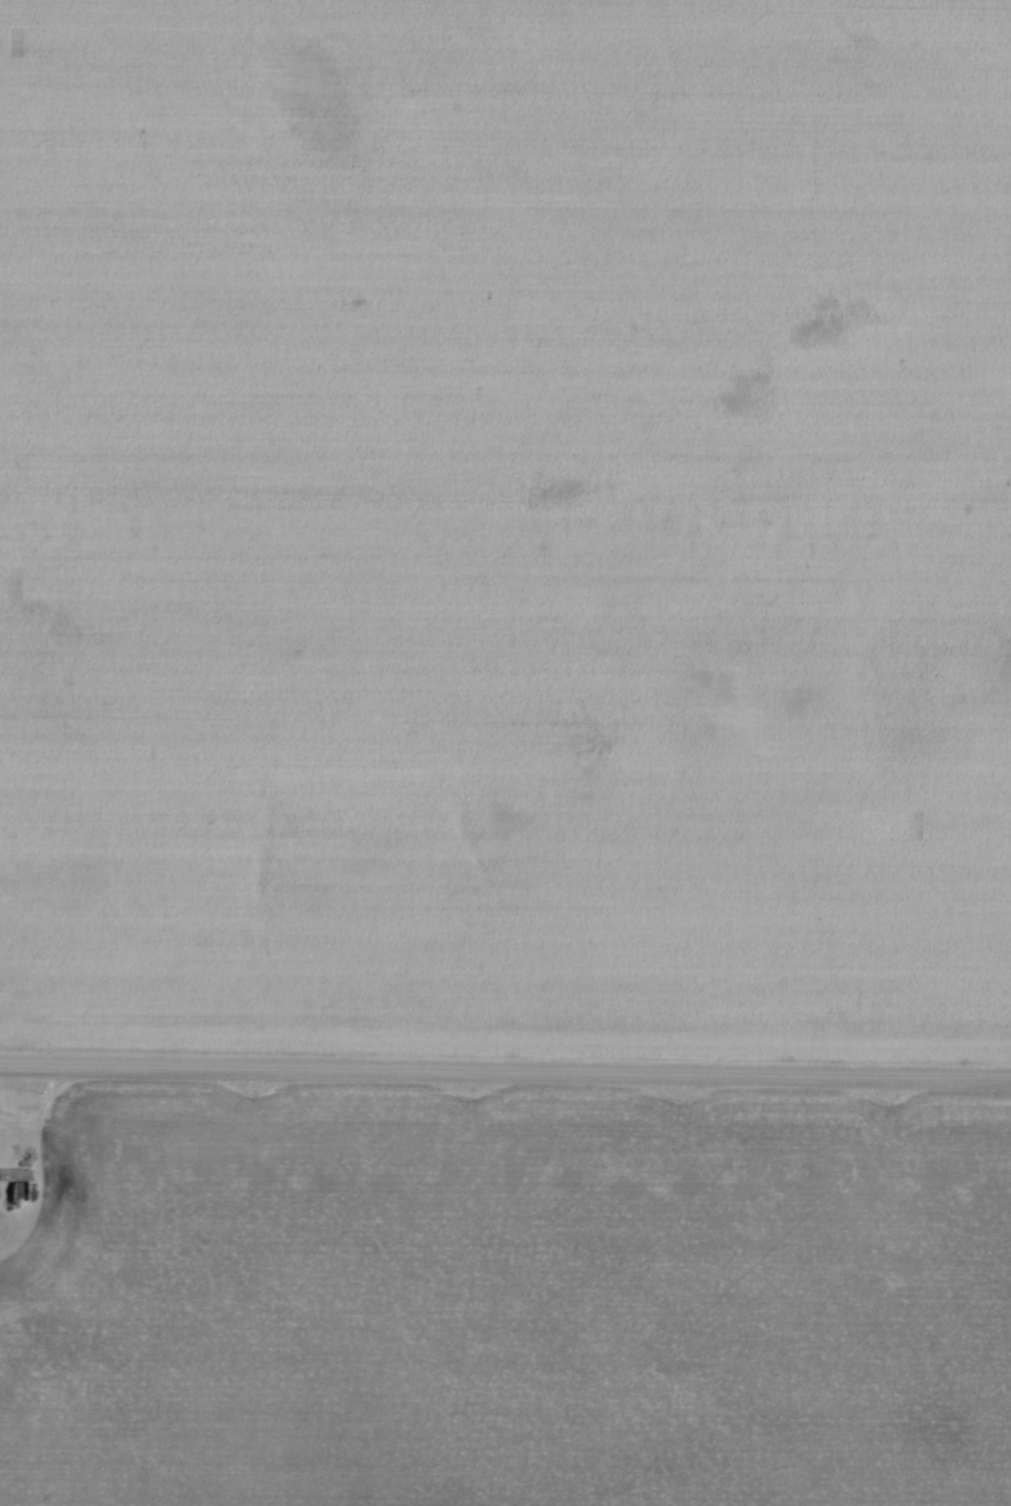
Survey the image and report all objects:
crop: (506, 525)
road: (505, 1070)
building: (15, 1173)
building: (22, 1190)
crop: (503, 1299)

